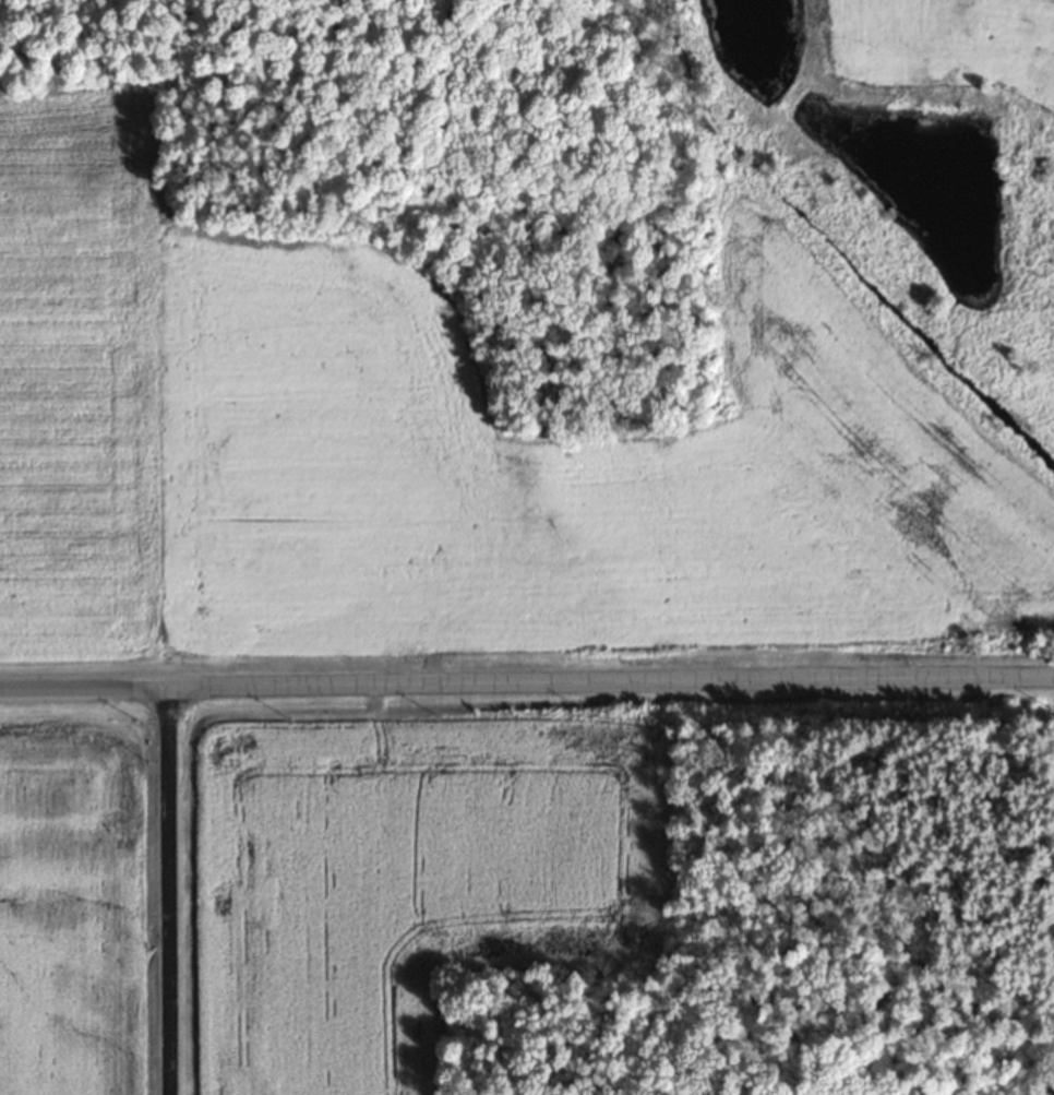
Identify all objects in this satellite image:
road: (526, 681)
road: (168, 891)

